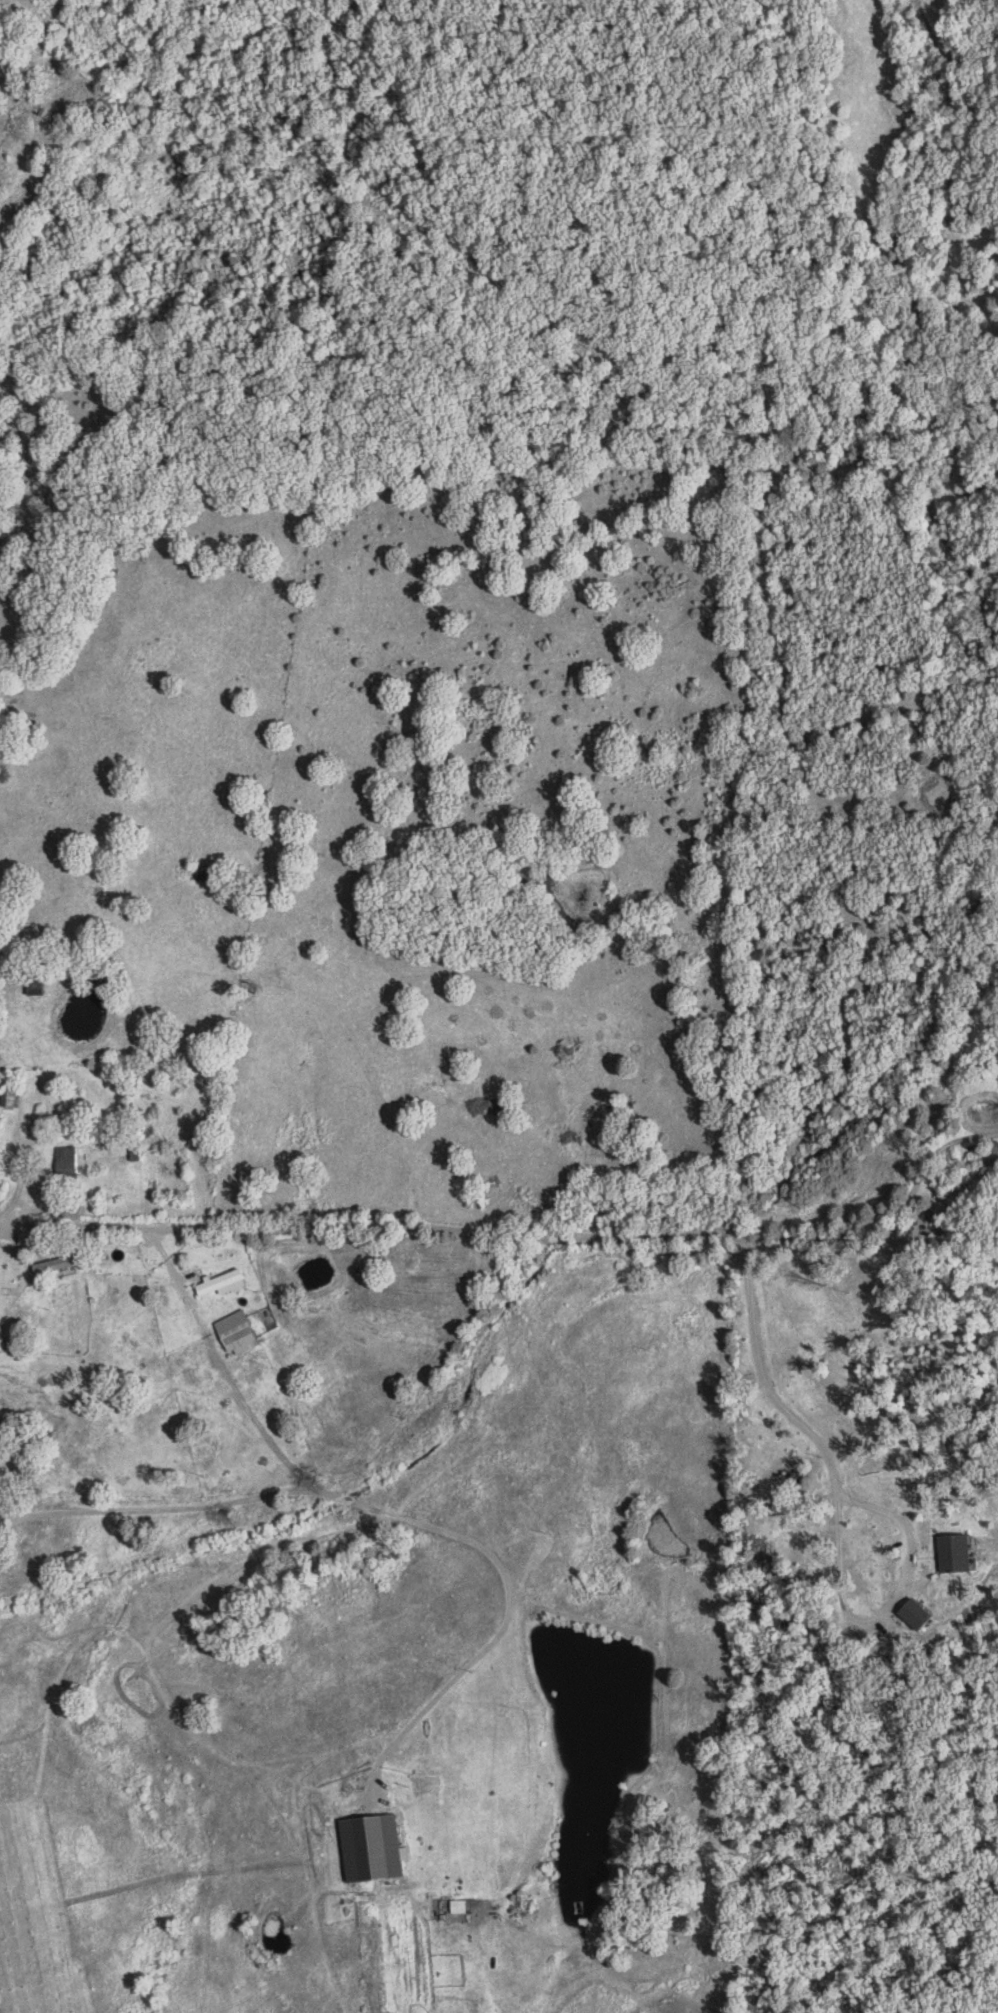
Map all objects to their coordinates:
building: (71, 1160)
road: (498, 1252)
building: (226, 1283)
building: (241, 1333)
building: (4, 1340)
building: (958, 1442)
building: (958, 1551)
building: (919, 1612)
building: (376, 1847)
building: (462, 1906)

